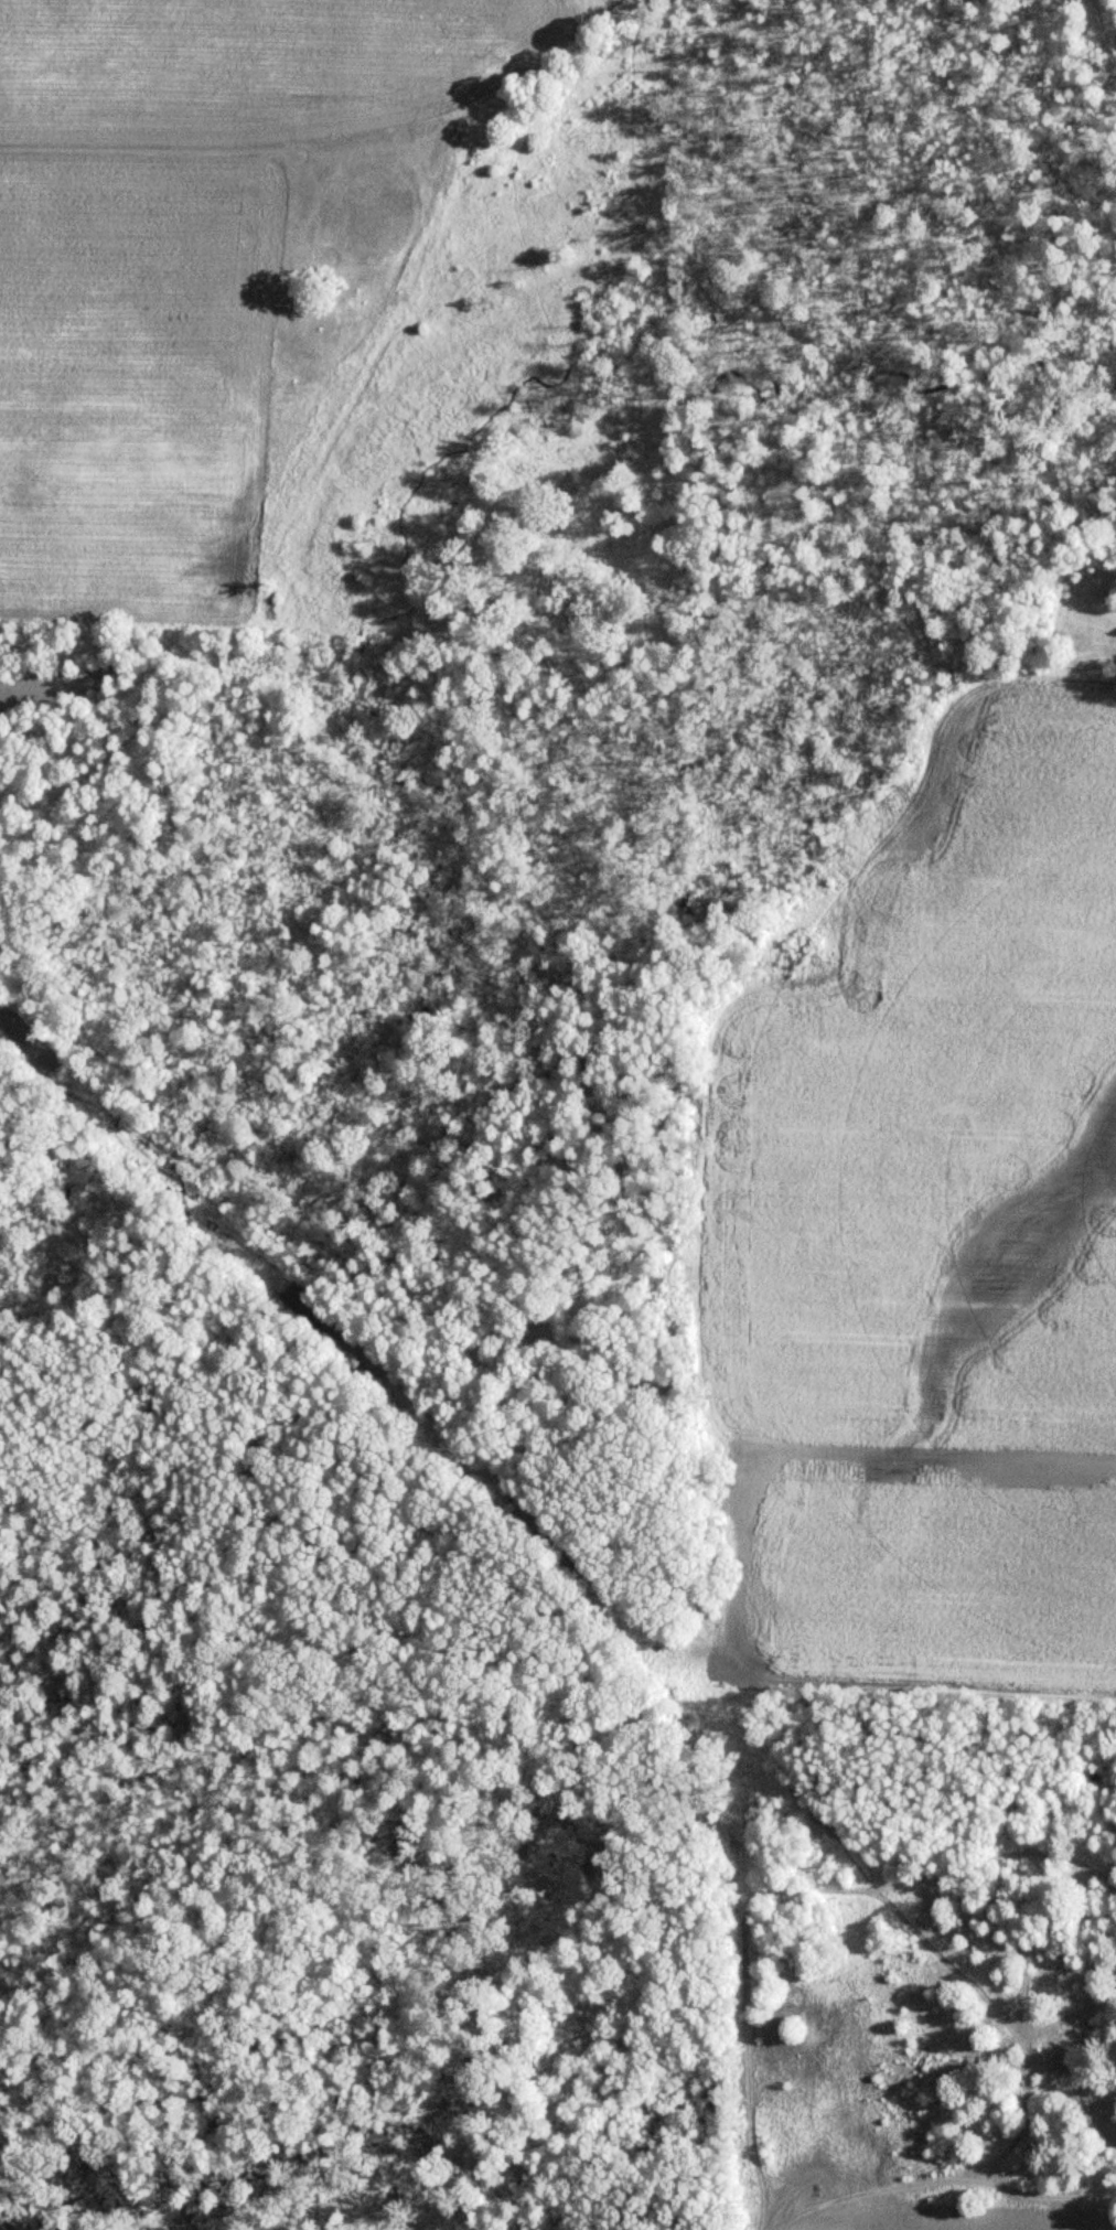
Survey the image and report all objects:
road: (923, 1685)

